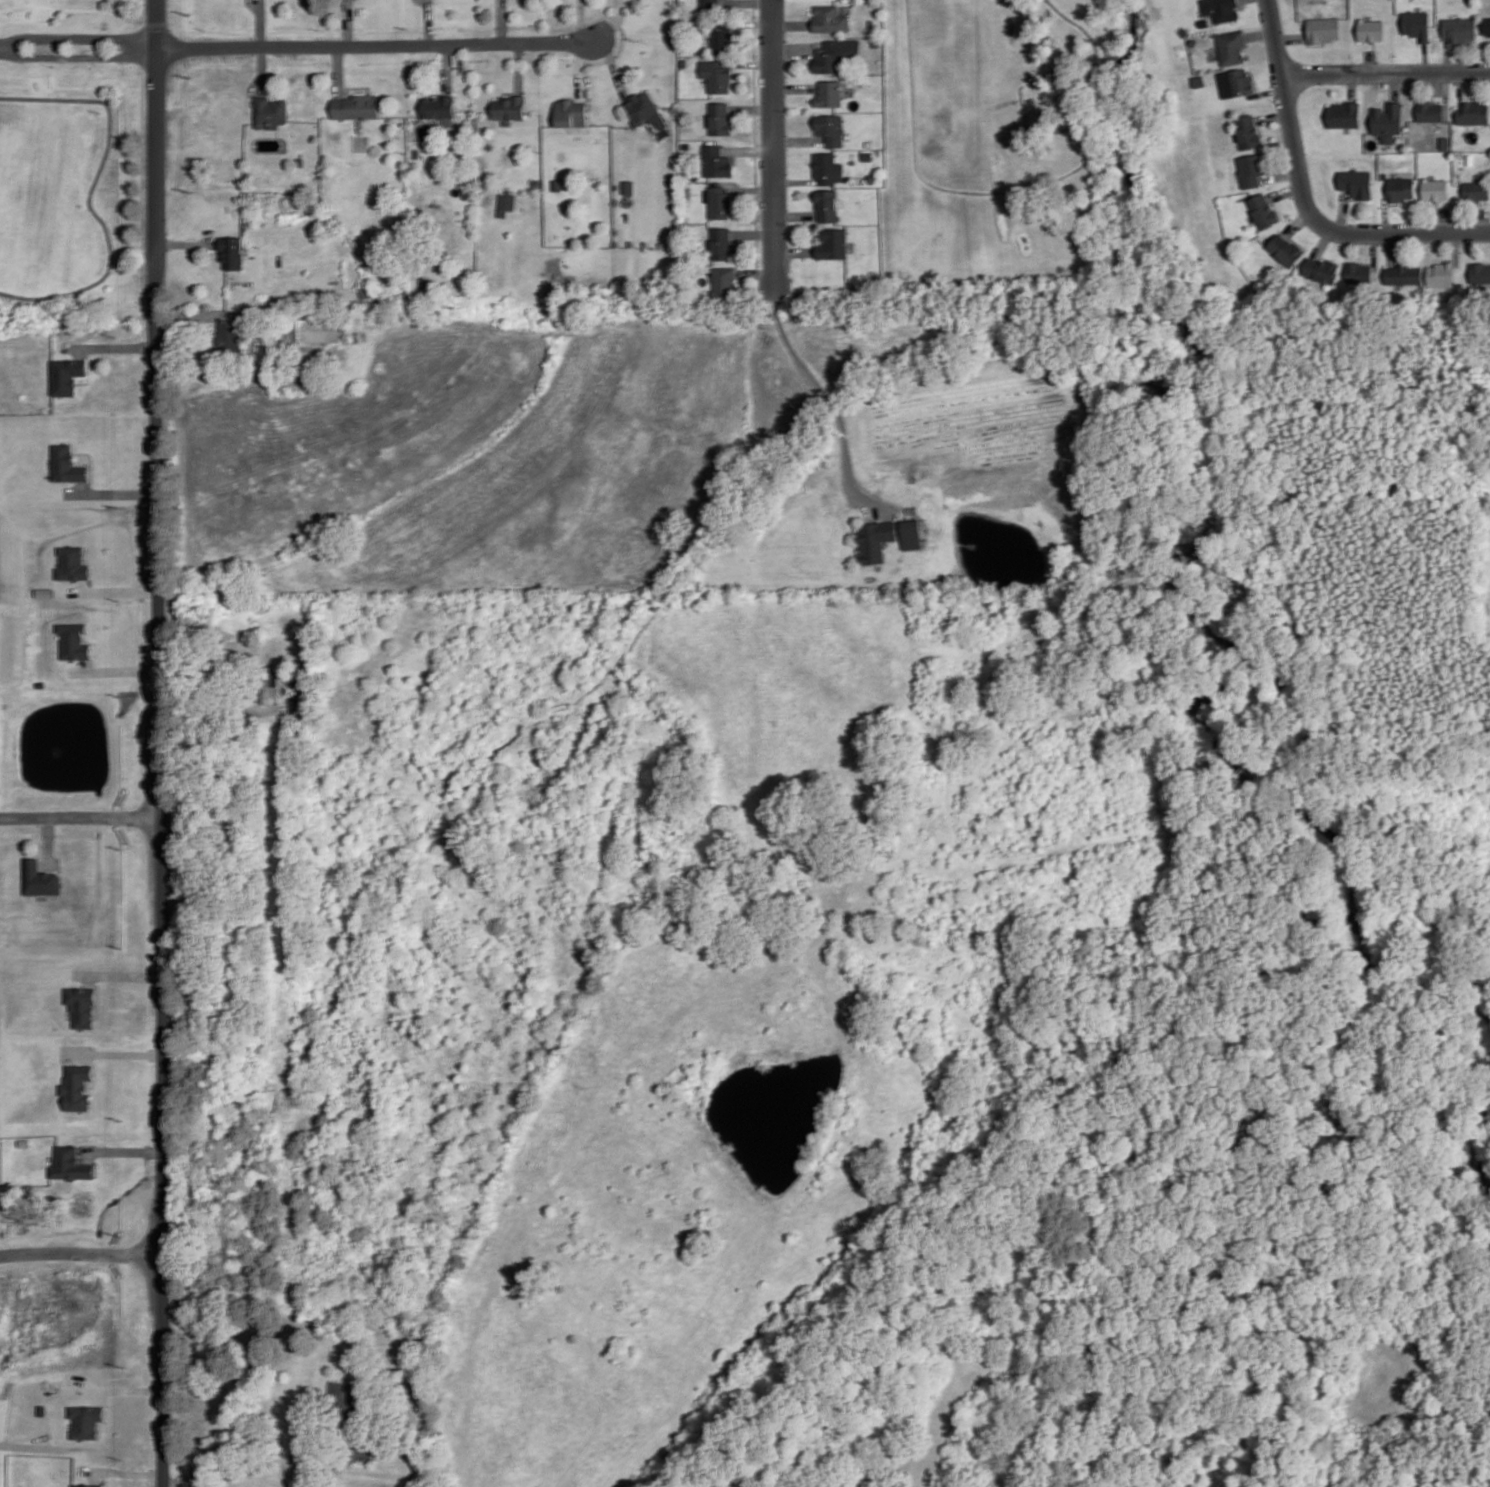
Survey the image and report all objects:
road: (732, 0)
road: (427, 1)
road: (748, 1)
building: (1474, 2)
building: (711, 3)
building: (1221, 8)
street lamp: (759, 15)
building: (831, 17)
road: (503, 20)
road: (582, 20)
road: (429, 21)
road: (748, 21)
road: (259, 22)
road: (348, 22)
road: (614, 22)
building: (872, 22)
building: (1417, 22)
road: (792, 23)
building: (1487, 23)
building: (1459, 26)
building: (1323, 28)
building: (1371, 28)
building: (1185, 30)
road: (1260, 32)
road: (1290, 35)
road: (78, 37)
building: (723, 37)
building: (1196, 40)
building: (877, 42)
road: (376, 43)
building: (1232, 45)
road: (794, 46)
building: (700, 48)
road: (1447, 53)
road: (78, 54)
building: (830, 55)
road: (1426, 57)
road: (1371, 60)
building: (685, 61)
road: (751, 62)
road: (519, 66)
road: (614, 66)
road: (447, 67)
road: (261, 68)
road: (581, 68)
road: (338, 69)
road: (734, 69)
road: (1385, 71)
building: (717, 73)
building: (1199, 80)
building: (1241, 81)
road: (356, 85)
road: (1352, 85)
road: (1395, 85)
road: (795, 86)
road: (1461, 87)
road: (1267, 91)
building: (830, 92)
road: (1446, 94)
building: (357, 105)
building: (438, 105)
building: (510, 106)
road: (752, 107)
building: (644, 108)
building: (1430, 109)
building: (269, 111)
building: (571, 111)
building: (1474, 111)
building: (1345, 113)
road: (1288, 115)
road: (734, 116)
road: (1272, 116)
building: (721, 117)
building: (1388, 117)
building: (831, 127)
building: (1248, 131)
road: (756, 136)
road: (799, 139)
building: (1445, 140)
road: (774, 143)
building: (1404, 146)
road: (749, 149)
building: (868, 154)
park: (67, 160)
building: (299, 160)
building: (717, 160)
building: (829, 167)
building: (1252, 168)
road: (1280, 173)
building: (1385, 174)
road: (1061, 176)
road: (796, 180)
building: (1357, 181)
building: (538, 182)
building: (557, 183)
building: (629, 185)
building: (1434, 187)
road: (753, 188)
building: (1401, 188)
road: (1285, 190)
building: (1477, 190)
road: (91, 192)
building: (688, 192)
building: (507, 200)
building: (720, 200)
building: (828, 203)
road: (1394, 203)
building: (1264, 210)
road: (1343, 210)
building: (502, 212)
road: (795, 213)
road: (1386, 214)
road: (1445, 219)
road: (1483, 219)
road: (1296, 221)
road: (1405, 231)
road: (754, 232)
road: (1322, 241)
building: (721, 242)
building: (834, 242)
road: (185, 243)
street lamp: (1346, 246)
road: (1456, 247)
road: (1391, 248)
building: (1285, 249)
road: (1374, 249)
building: (232, 250)
road: (795, 250)
building: (1321, 268)
building: (1359, 271)
building: (1480, 271)
road: (757, 272)
building: (1402, 273)
building: (1442, 273)
building: (724, 281)
road: (197, 314)
building: (316, 328)
building: (230, 335)
road: (112, 346)
road: (89, 368)
building: (66, 374)
road: (306, 383)
road: (833, 400)
building: (67, 463)
building: (19, 464)
road: (113, 492)
building: (912, 533)
building: (875, 538)
pier: (968, 544)
building: (72, 563)
building: (73, 640)
road: (161, 743)
road: (81, 815)
road: (49, 840)
building: (39, 877)
building: (81, 1005)
road: (114, 1052)
road: (96, 1072)
building: (76, 1086)
road: (125, 1150)
building: (71, 1163)
street lamp: (3, 1245)
road: (82, 1251)
road: (125, 1389)
building: (341, 1396)
road: (107, 1409)
building: (87, 1418)
road: (260, 1441)
building: (380, 1449)
road: (123, 1471)
road: (105, 1478)
building: (88, 1485)

